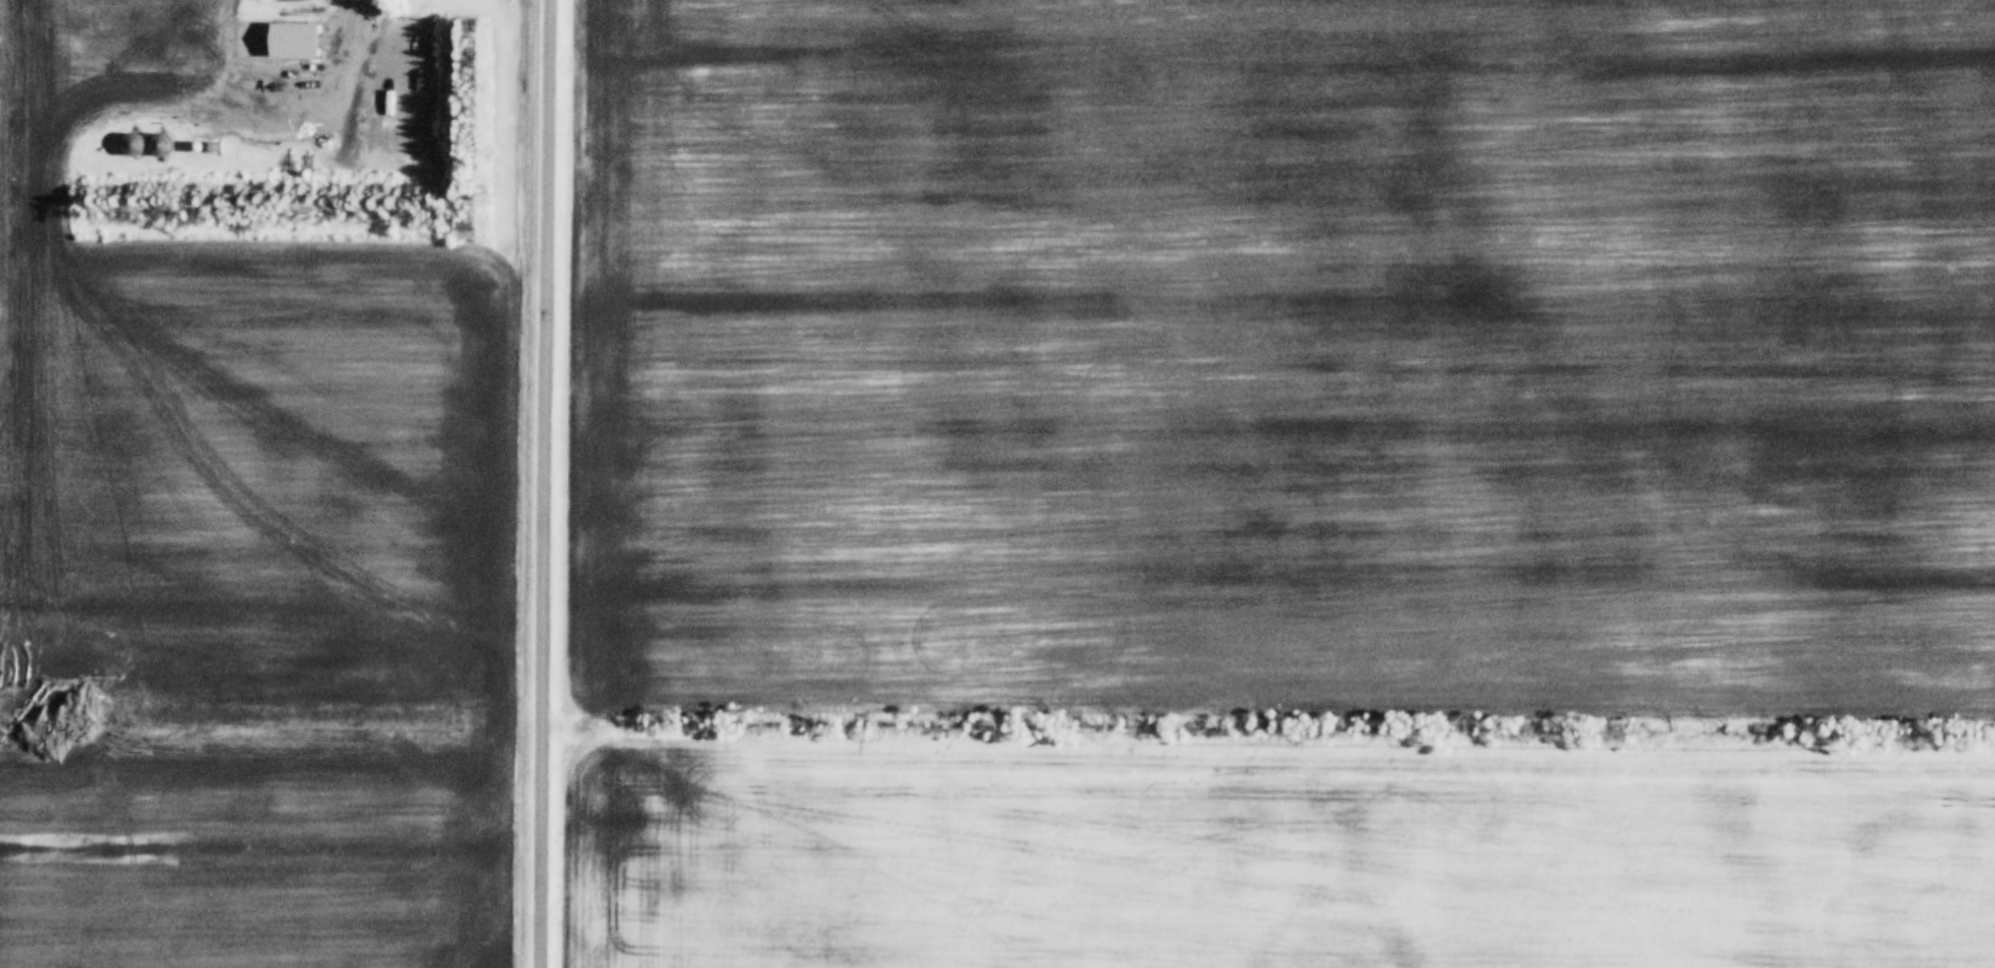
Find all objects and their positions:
road: (284, 129)
building: (135, 145)
road: (547, 484)

